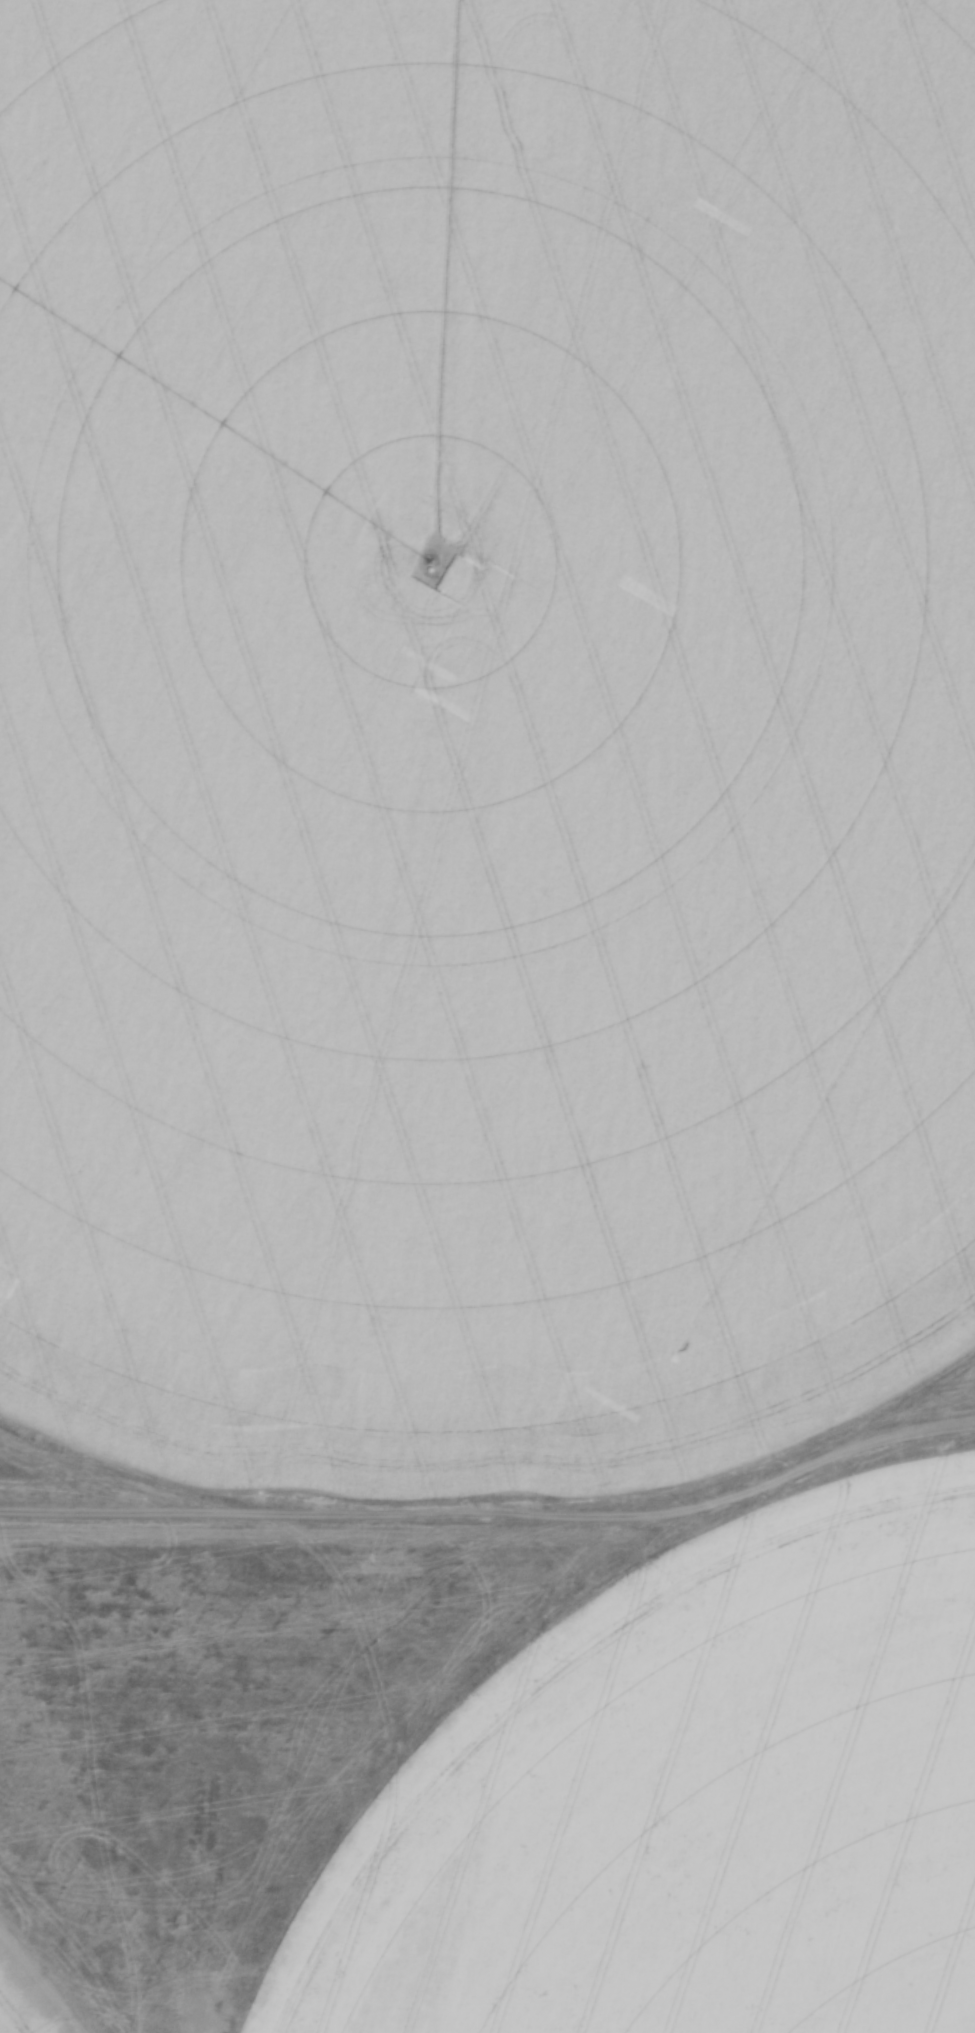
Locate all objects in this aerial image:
road: (494, 1504)

